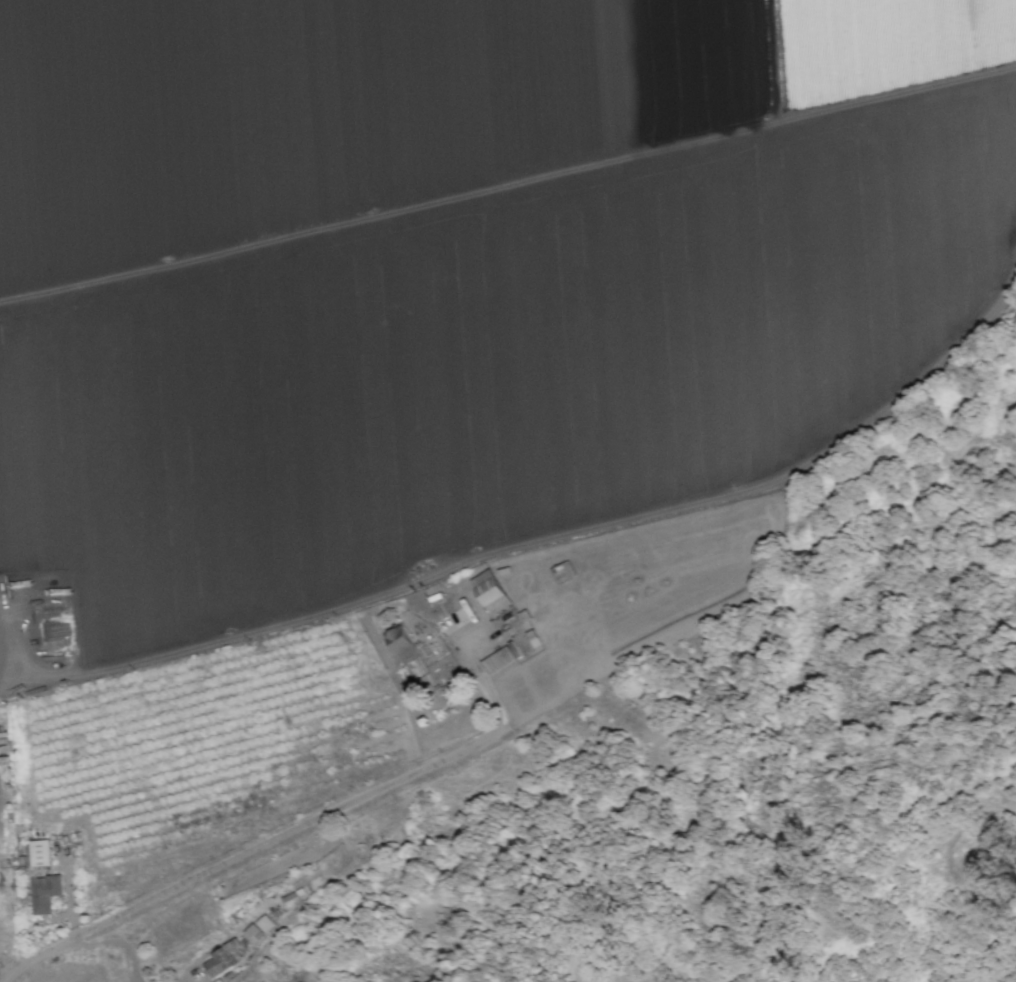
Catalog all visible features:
crop: (425, 371)
road: (537, 550)
building: (490, 591)
road: (457, 636)
building: (402, 645)
building: (497, 659)
road: (275, 843)
building: (35, 854)
building: (44, 892)
building: (263, 923)
building: (251, 930)
power tower: (748, 953)
building: (221, 958)

